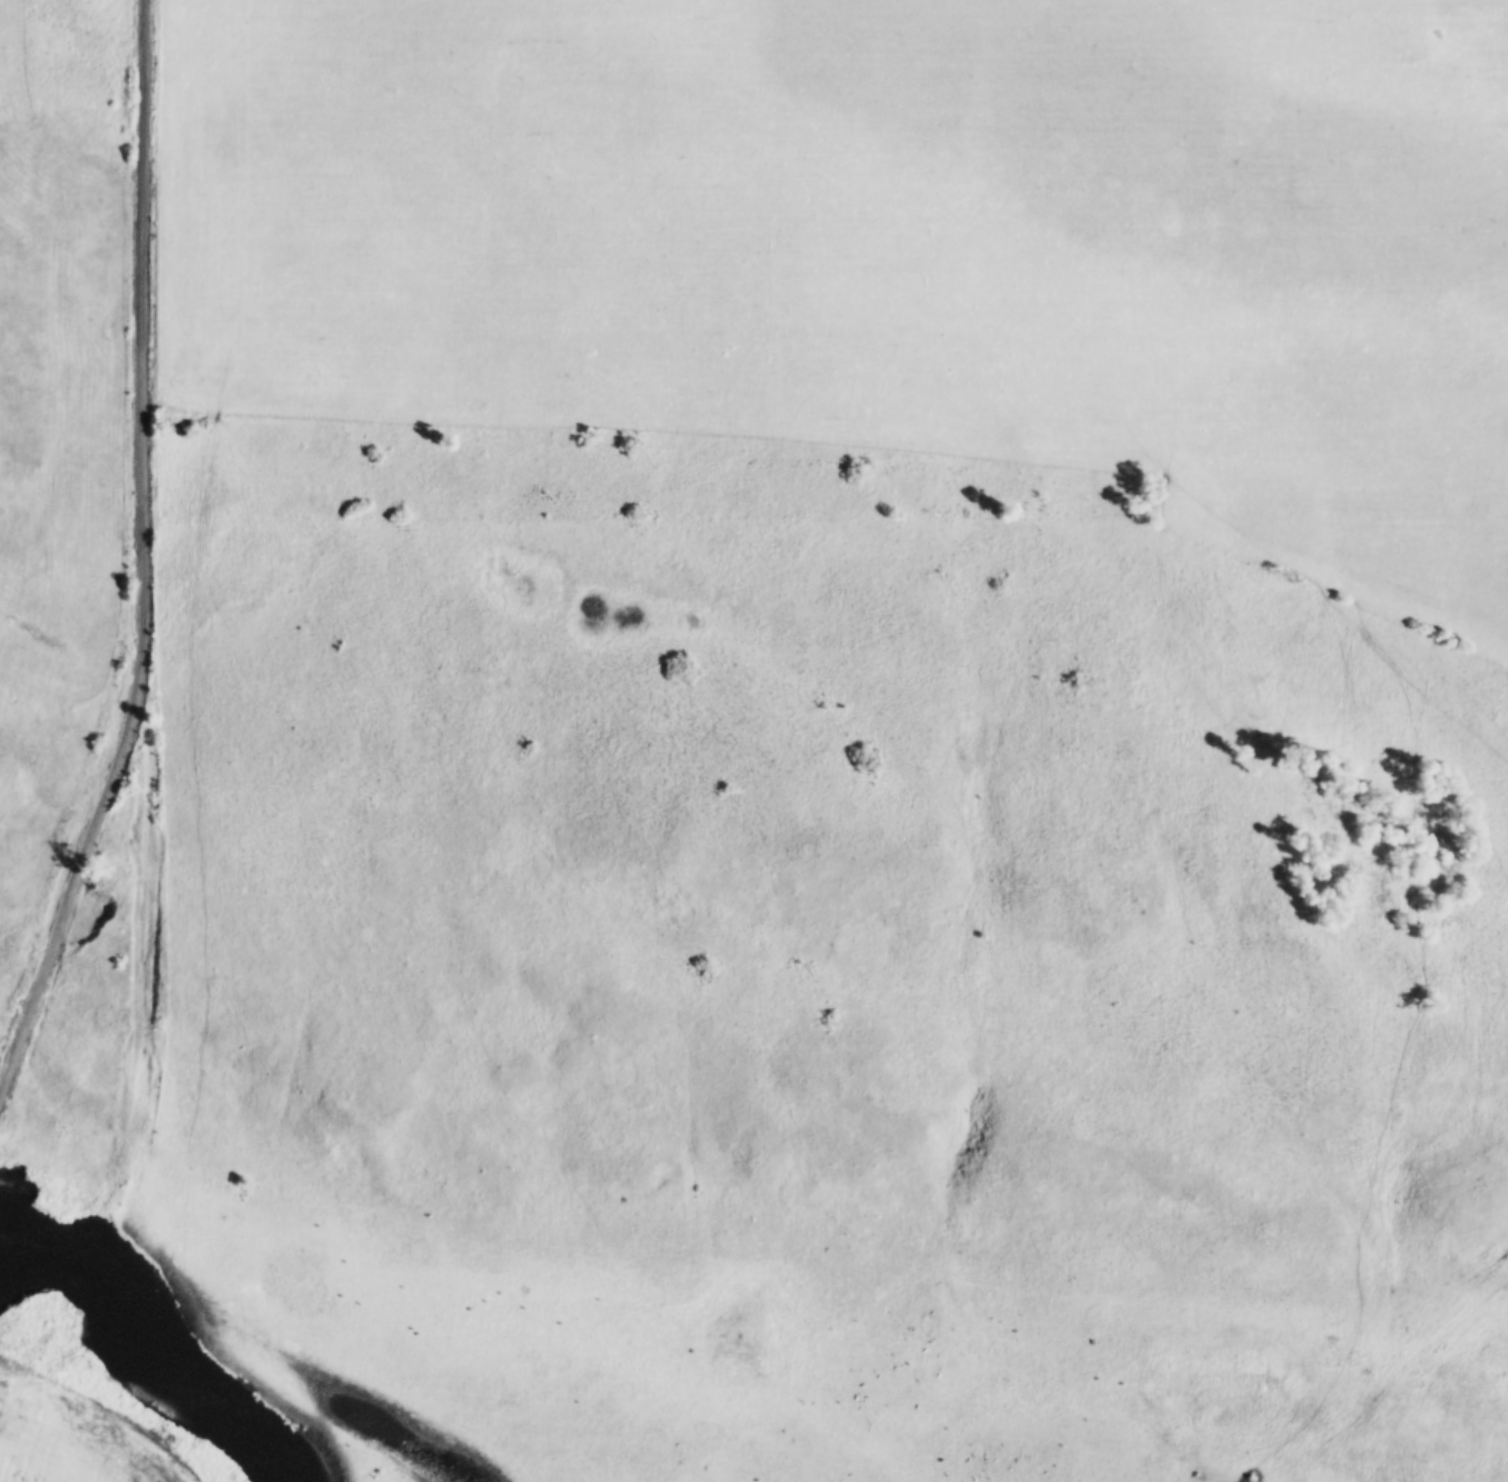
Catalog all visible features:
road: (145, 563)
river: (143, 1349)

